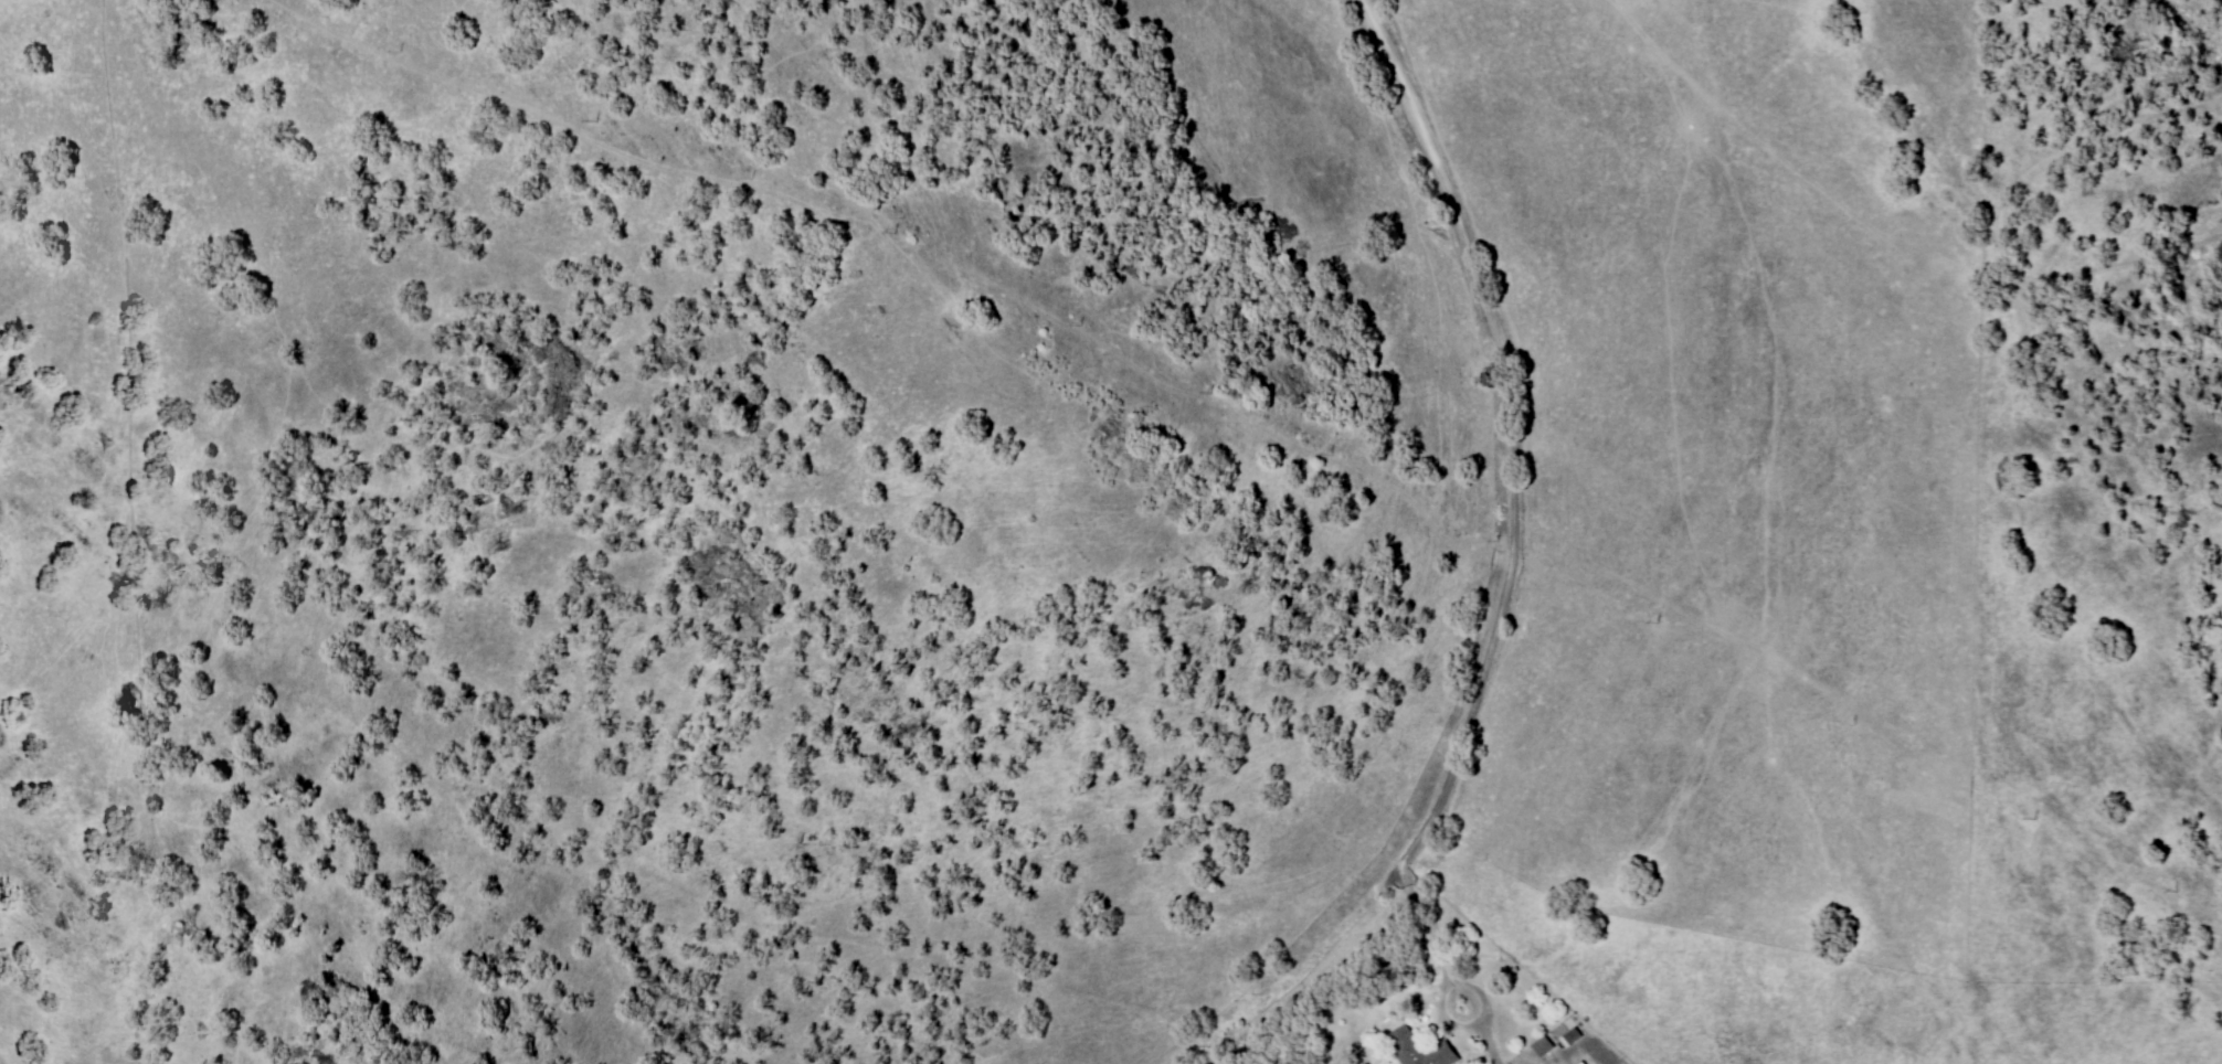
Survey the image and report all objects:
road: (1514, 500)
building: (1572, 1036)
building: (1543, 1045)
building: (1409, 1047)
building: (1583, 1062)

